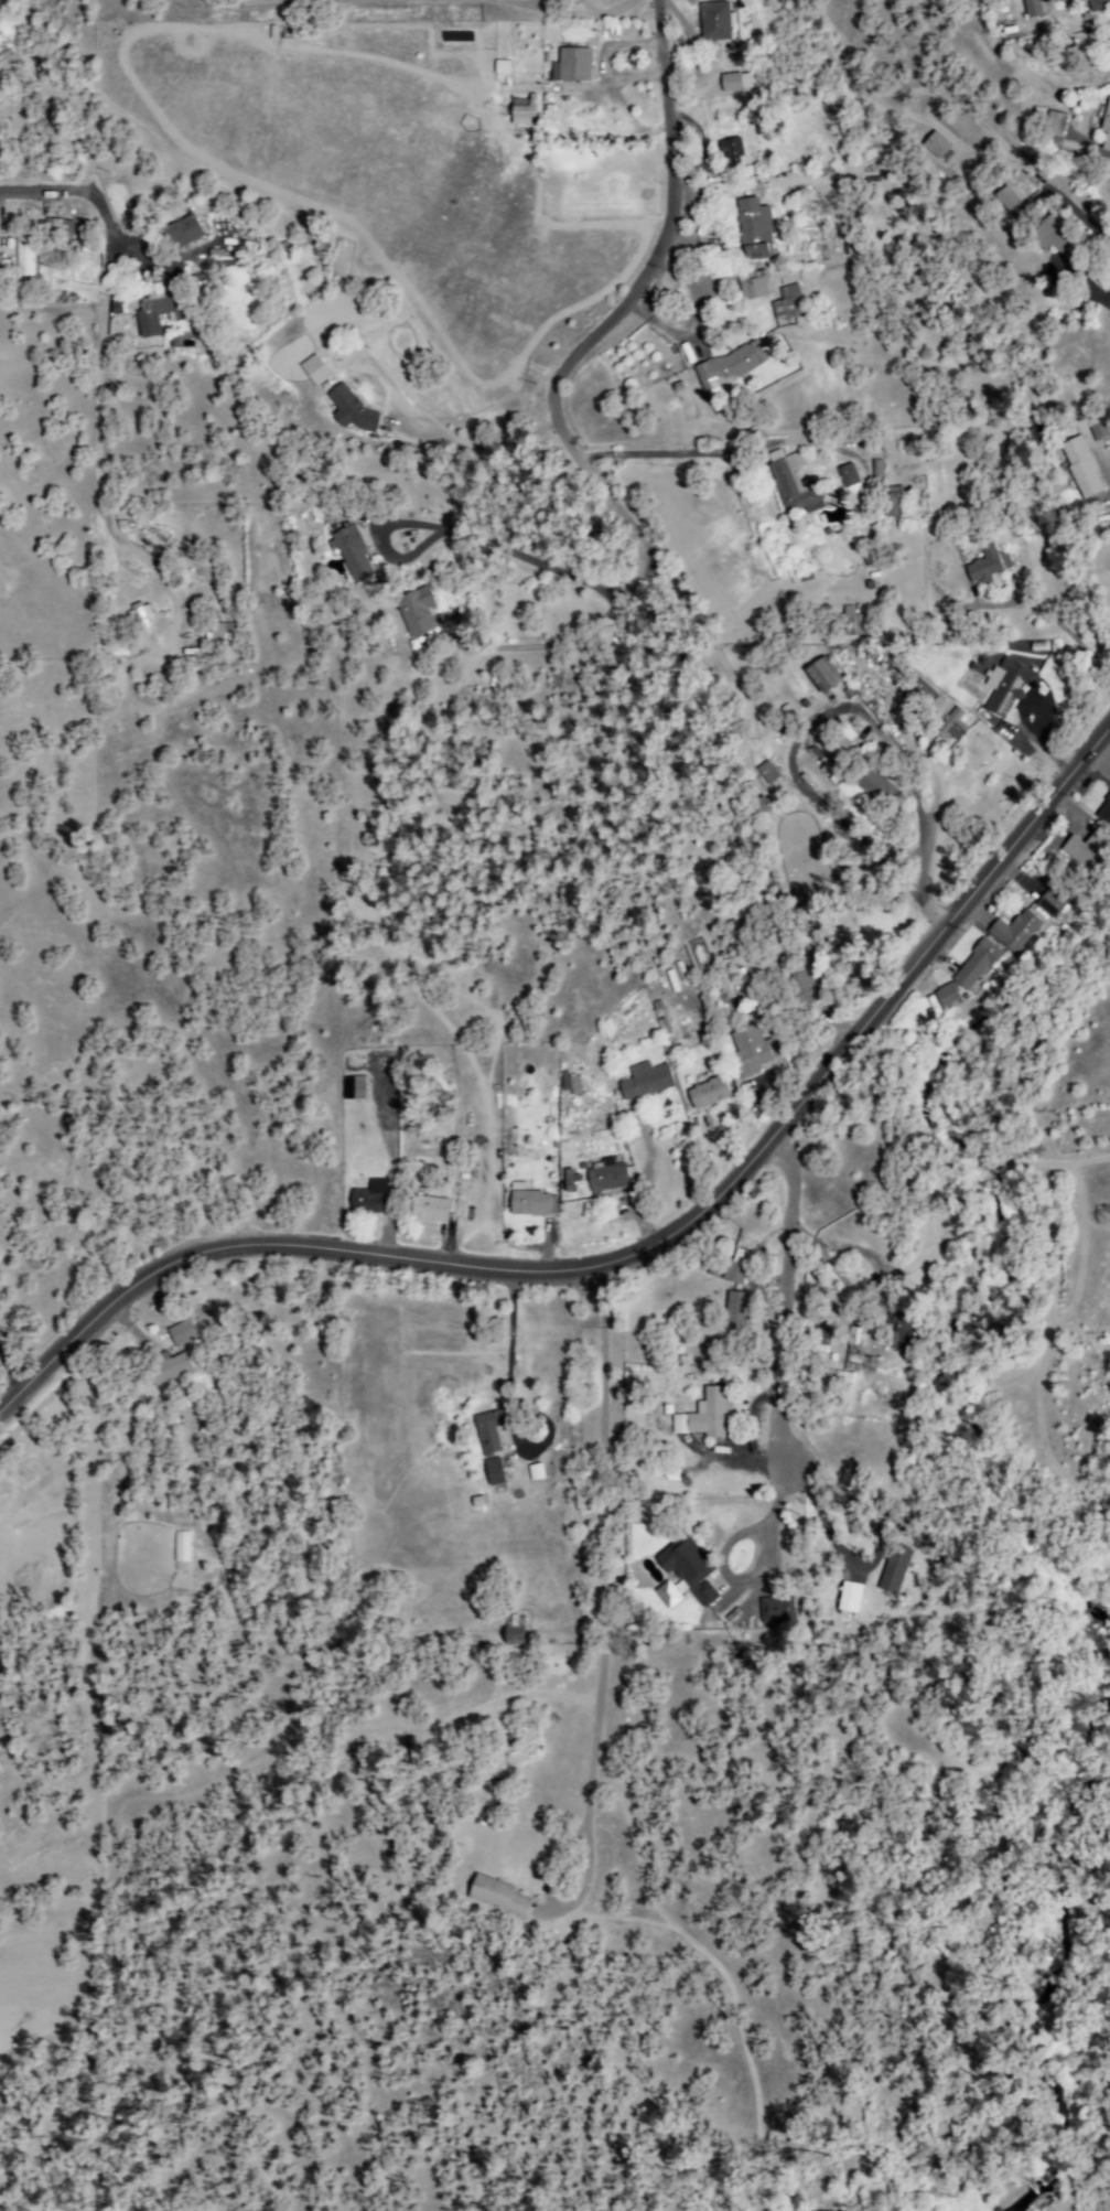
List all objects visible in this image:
building: (1076, 0)
building: (1031, 9)
building: (573, 65)
building: (736, 83)
building: (519, 114)
building: (1106, 126)
building: (935, 146)
building: (730, 149)
road: (36, 192)
building: (1005, 200)
building: (58, 227)
building: (183, 232)
building: (754, 232)
building: (1052, 237)
road: (660, 251)
building: (23, 257)
building: (752, 286)
building: (787, 303)
building: (160, 308)
building: (729, 364)
building: (313, 371)
building: (352, 411)
road: (98, 428)
building: (1096, 430)
road: (721, 448)
building: (876, 468)
building: (1079, 468)
building: (848, 480)
building: (790, 485)
building: (893, 504)
building: (351, 554)
building: (985, 564)
road: (944, 573)
building: (414, 613)
building: (138, 615)
building: (216, 637)
building: (821, 676)
building: (1007, 686)
building: (927, 699)
road: (1030, 709)
building: (951, 726)
building: (842, 738)
building: (874, 786)
road: (876, 803)
building: (1103, 809)
road: (1082, 839)
building: (1082, 850)
building: (1048, 904)
building: (1013, 932)
building: (973, 965)
road: (783, 976)
building: (804, 988)
building: (945, 996)
building: (747, 1051)
building: (644, 1081)
building: (569, 1085)
building: (353, 1088)
building: (707, 1092)
building: (605, 1177)
building: (368, 1198)
building: (528, 1204)
building: (428, 1210)
road: (640, 1248)
building: (734, 1267)
road: (793, 1294)
building: (734, 1312)
building: (180, 1334)
building: (902, 1335)
building: (166, 1369)
building: (704, 1415)
building: (487, 1431)
building: (493, 1472)
building: (181, 1547)
building: (689, 1571)
road: (601, 1597)
building: (772, 1612)
building: (511, 1636)
building: (495, 1898)

